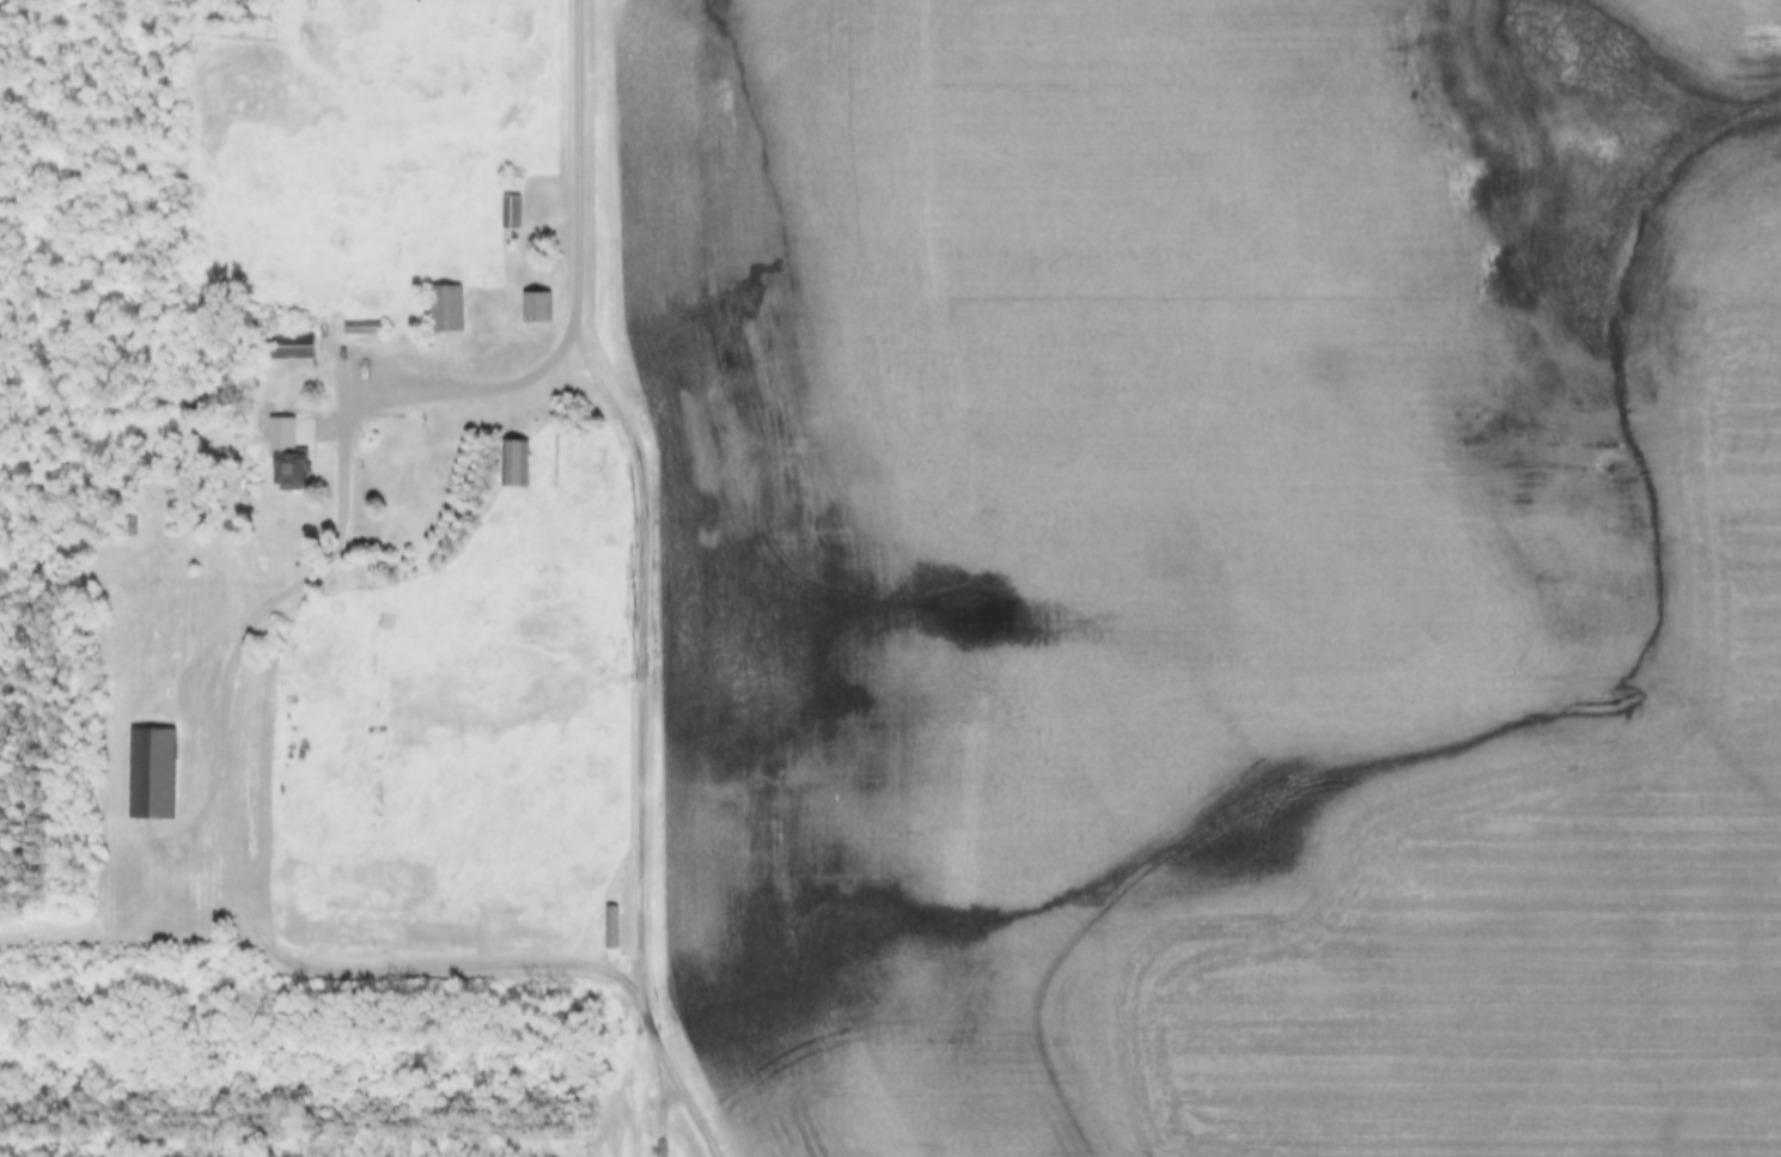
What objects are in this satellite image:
building: (508, 213)
building: (532, 307)
building: (444, 310)
building: (287, 347)
building: (511, 464)
building: (285, 470)
road: (644, 499)
building: (124, 528)
road: (224, 738)
building: (148, 775)
road: (142, 890)
building: (610, 926)
road: (635, 1086)
road: (682, 1088)

